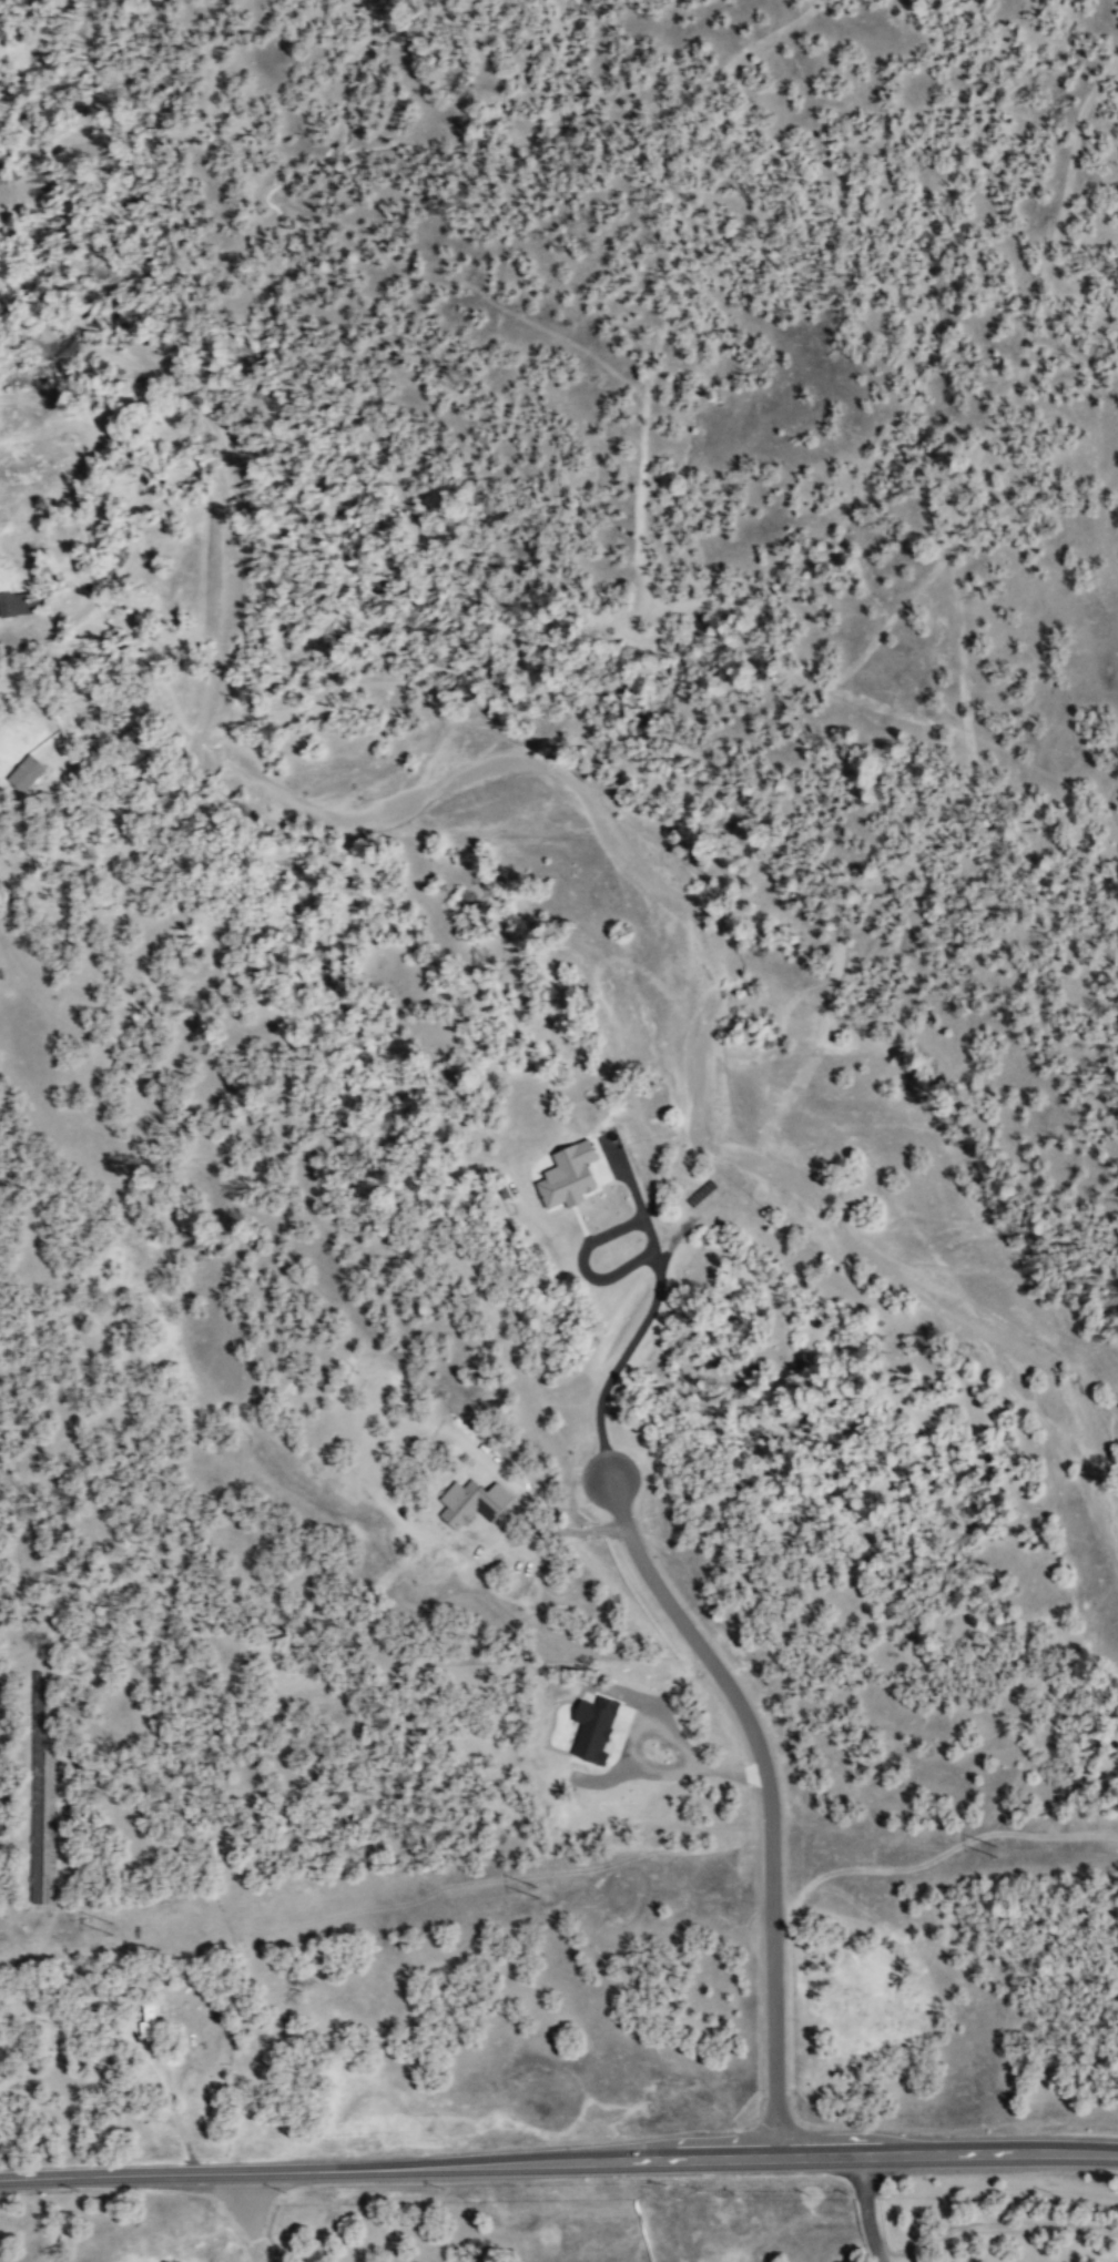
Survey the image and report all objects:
building: (14, 602)
building: (22, 772)
building: (565, 1175)
road: (657, 1270)
building: (591, 1727)
road: (657, 1731)
road: (765, 1801)
power tower: (995, 1856)
power tower: (545, 1893)
power tower: (118, 1929)
building: (145, 2018)
road: (179, 2111)
road: (558, 2167)
road: (868, 2211)
road: (252, 2218)
road: (1005, 2225)

